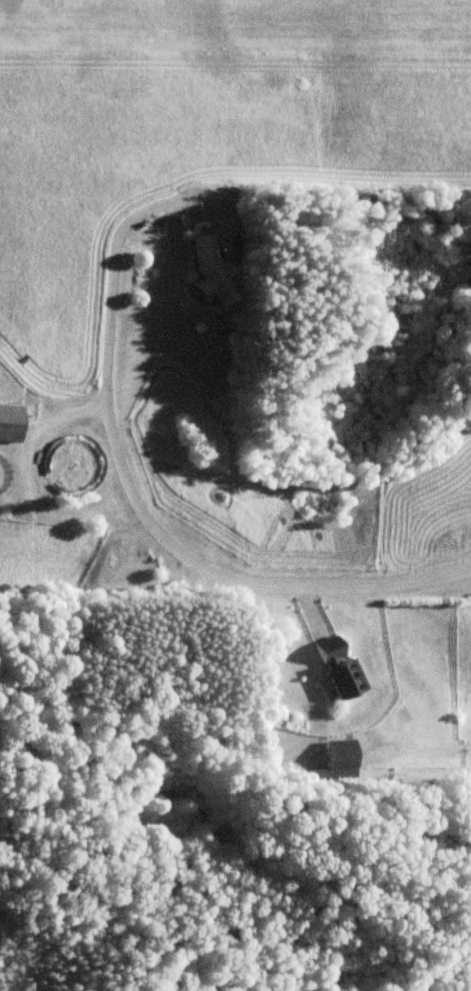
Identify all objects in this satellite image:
building: (209, 271)
building: (10, 423)
road: (128, 485)
building: (339, 670)
building: (337, 760)

